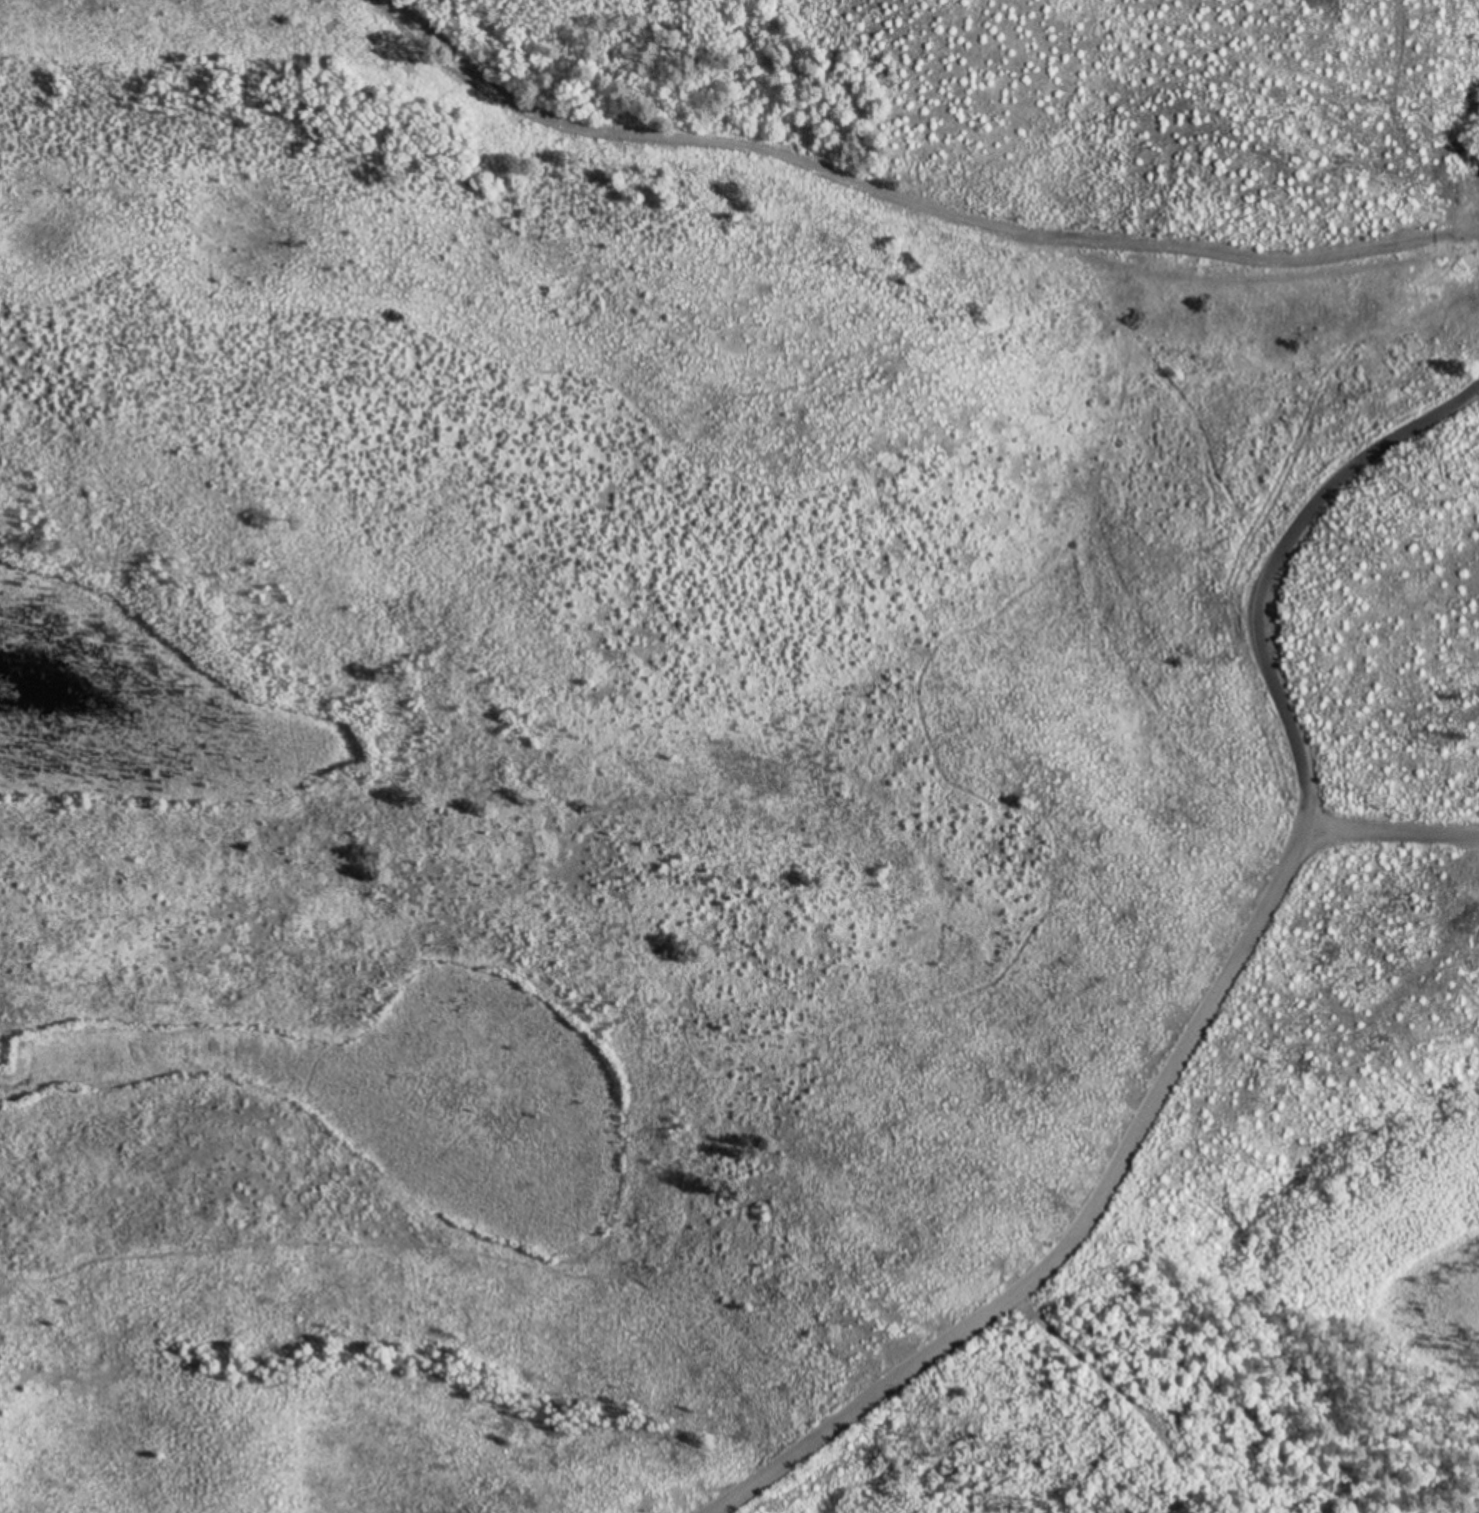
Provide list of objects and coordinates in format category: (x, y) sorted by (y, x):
road: (903, 173)
road: (1392, 832)
road: (1218, 993)

